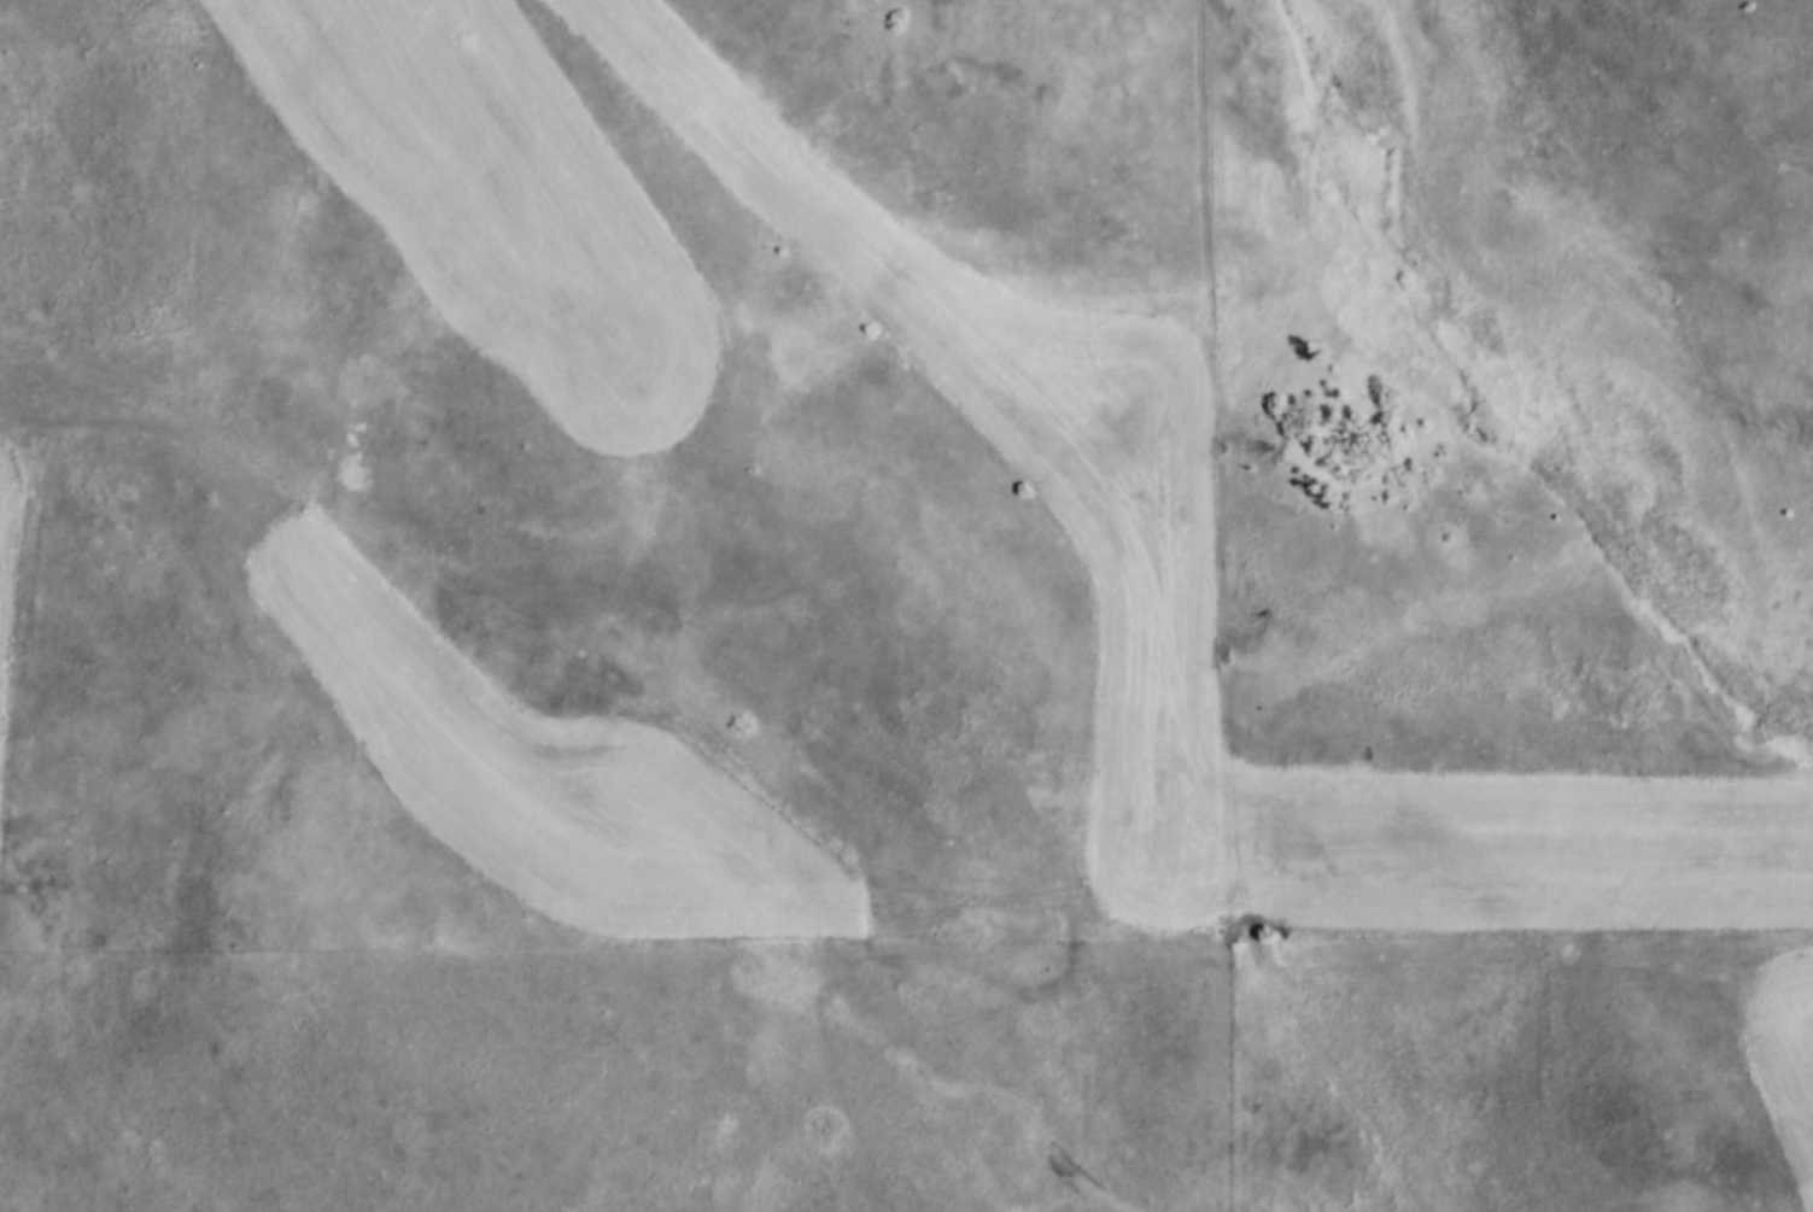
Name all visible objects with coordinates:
road: (864, 861)

